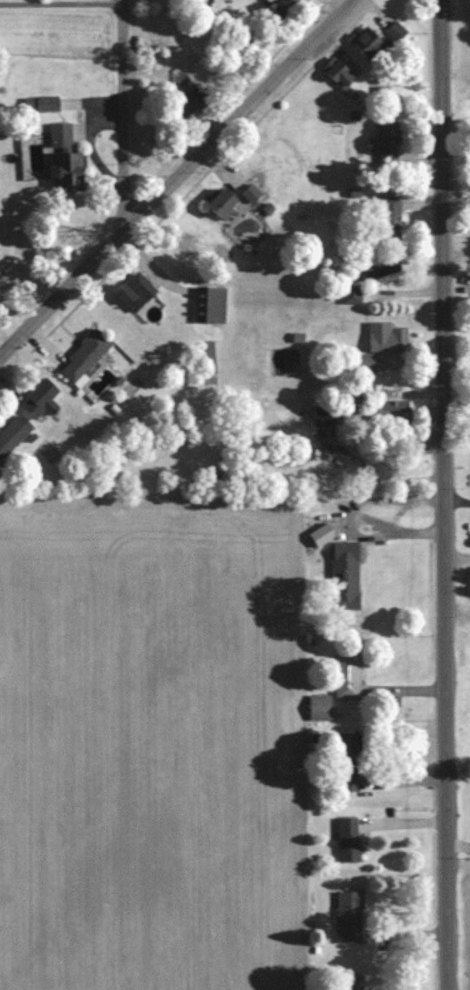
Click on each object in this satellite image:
building: (275, 7)
building: (394, 31)
building: (367, 44)
building: (149, 49)
building: (337, 76)
building: (386, 95)
building: (39, 103)
building: (187, 107)
road: (123, 112)
building: (352, 115)
building: (57, 135)
building: (383, 144)
building: (65, 169)
road: (174, 177)
building: (250, 192)
building: (354, 193)
building: (219, 205)
building: (266, 207)
building: (384, 213)
building: (378, 270)
building: (133, 291)
building: (349, 294)
building: (209, 304)
building: (296, 336)
building: (385, 337)
building: (82, 354)
building: (362, 362)
building: (39, 399)
building: (113, 408)
building: (388, 411)
building: (357, 413)
building: (317, 419)
building: (12, 433)
building: (31, 437)
building: (314, 447)
building: (1, 472)
road: (446, 494)
building: (318, 535)
building: (342, 575)
building: (344, 675)
building: (317, 707)
crop: (149, 745)
building: (345, 760)
building: (346, 839)
building: (347, 917)
crop: (466, 925)
building: (348, 982)

